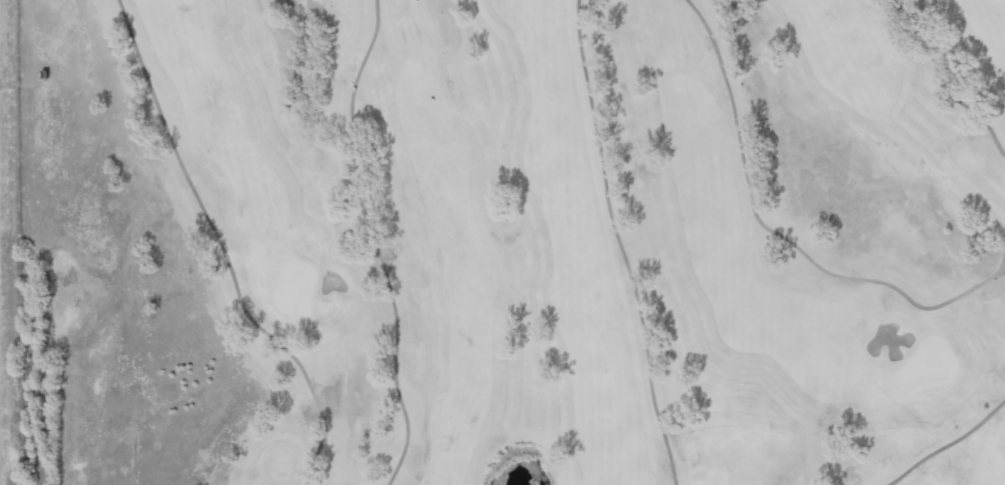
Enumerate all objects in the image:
road: (943, 84)
road: (777, 234)
park: (509, 242)
road: (376, 243)
road: (619, 244)
road: (222, 249)
road: (1003, 259)
road: (947, 444)

